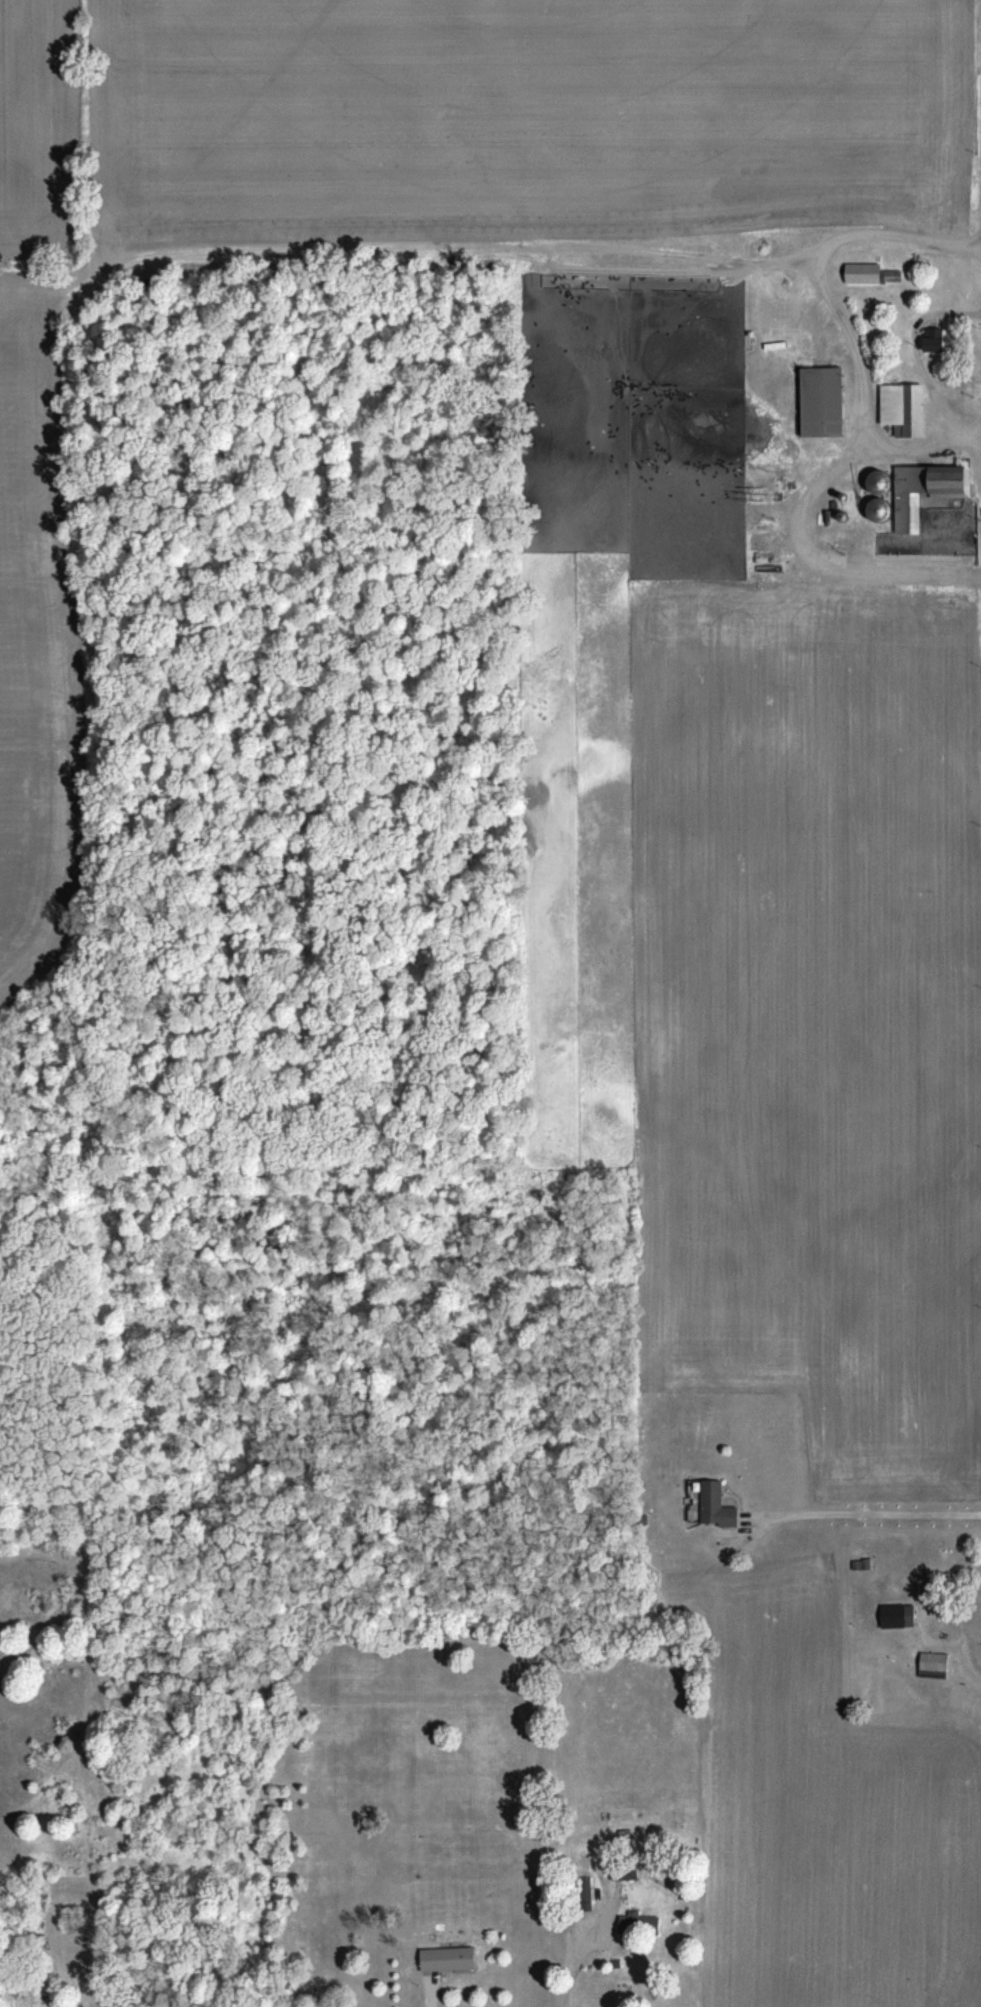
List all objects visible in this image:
building: (868, 270)
building: (939, 337)
road: (918, 356)
building: (825, 400)
building: (906, 407)
road: (859, 416)
road: (916, 448)
building: (921, 490)
building: (721, 1504)
road: (866, 1511)
building: (864, 1563)
building: (901, 1615)
building: (931, 1662)
building: (627, 1871)
building: (642, 1922)
building: (451, 1956)
road: (569, 1967)
road: (428, 1994)

